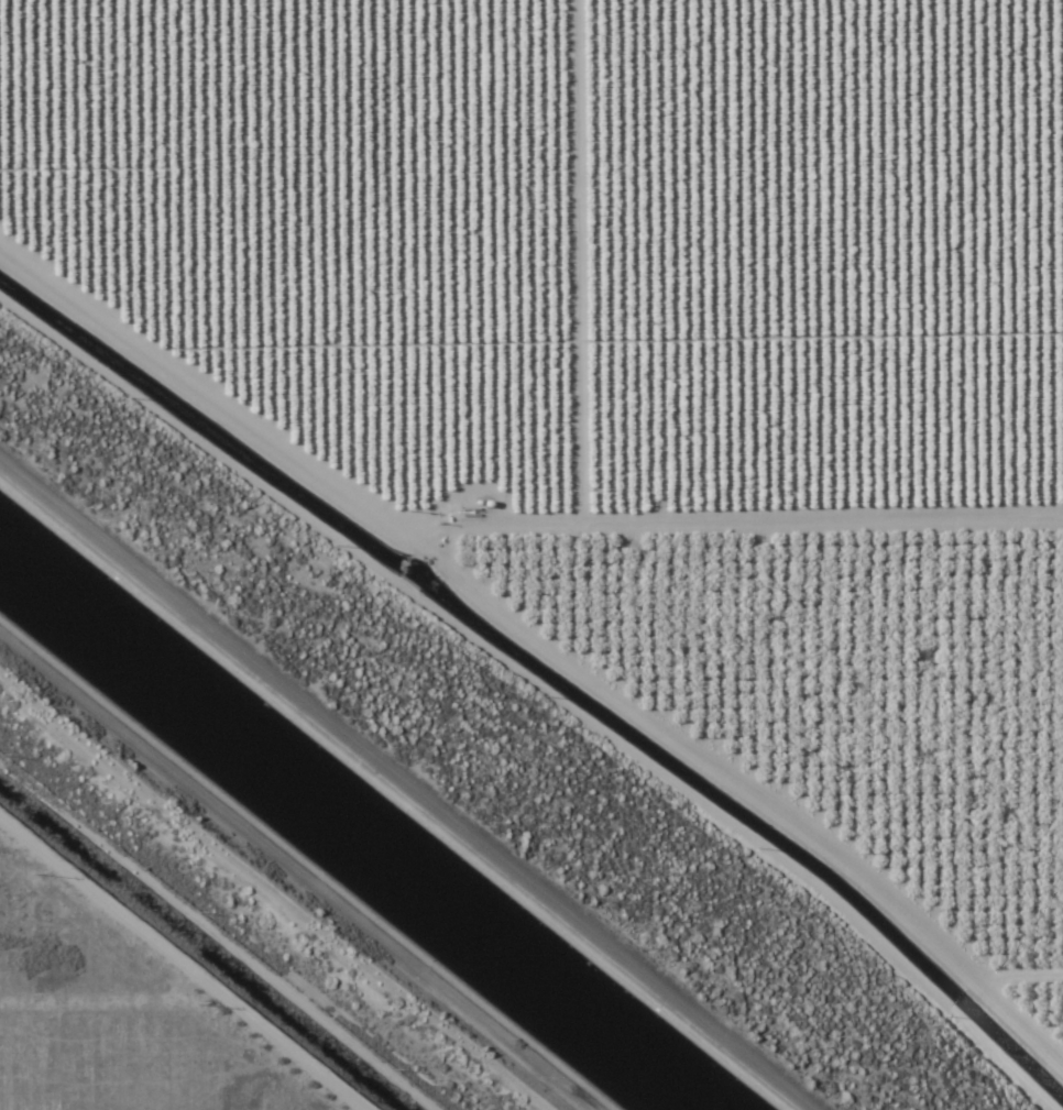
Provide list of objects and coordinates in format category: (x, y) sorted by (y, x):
road: (298, 871)

